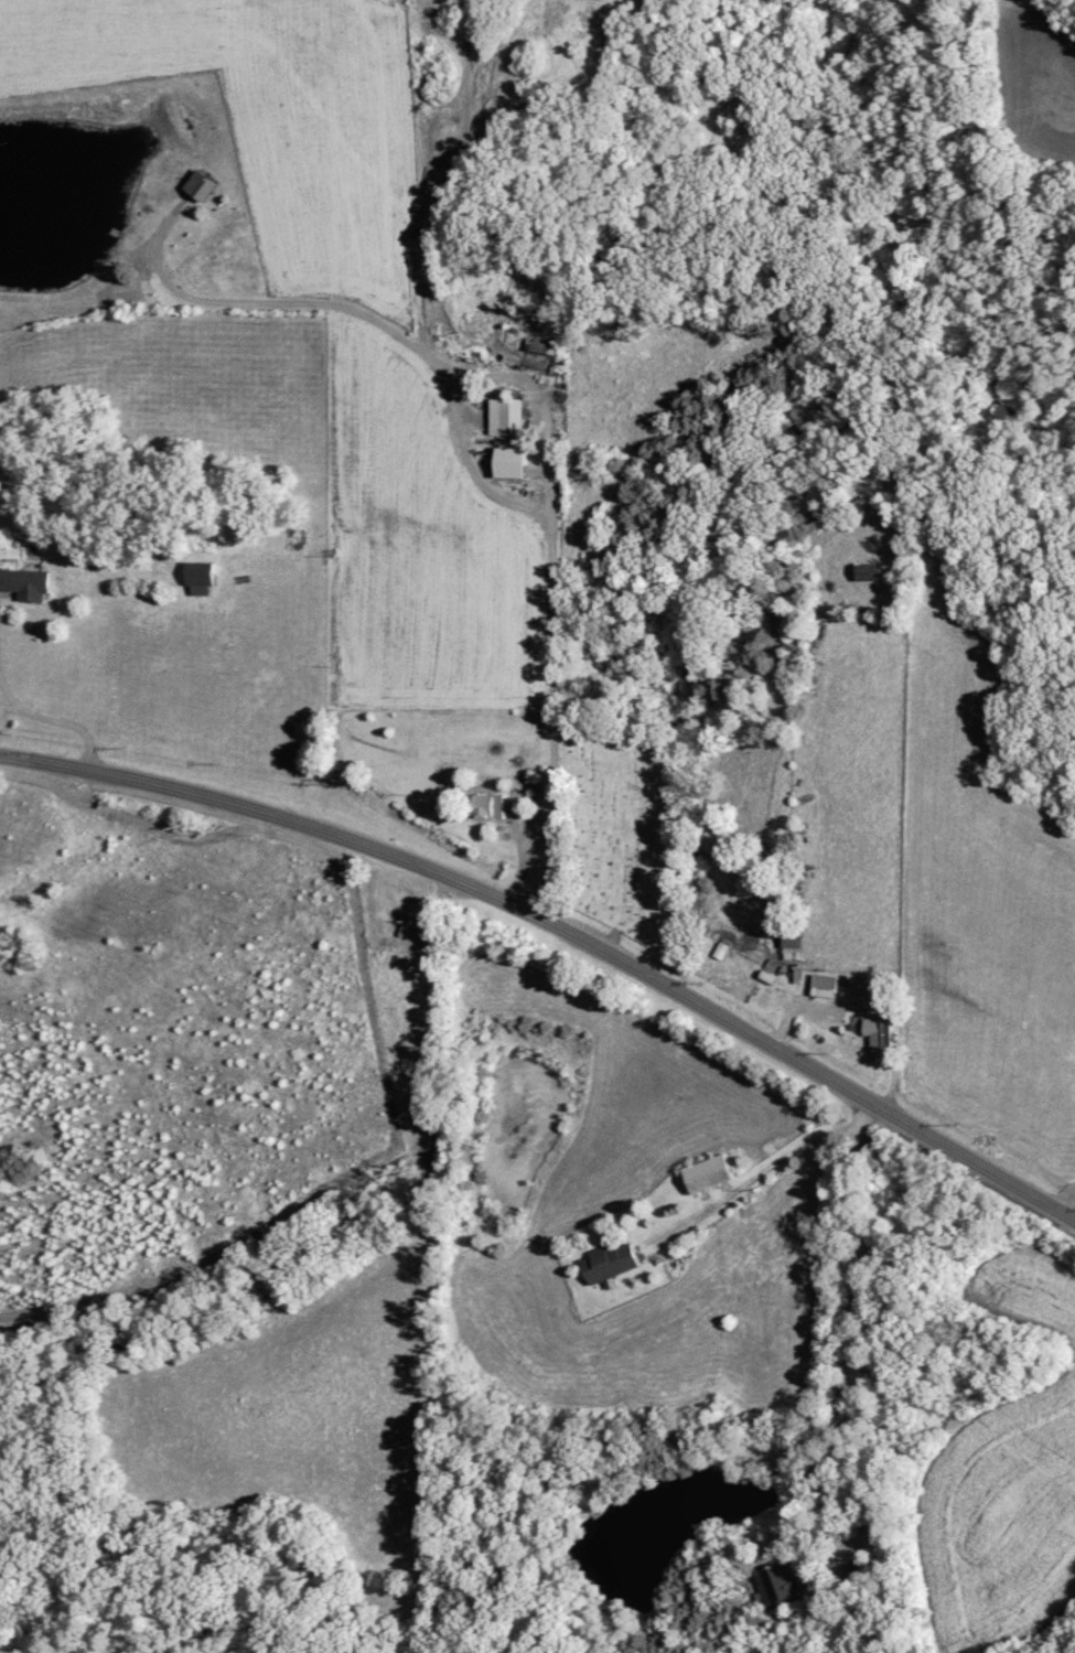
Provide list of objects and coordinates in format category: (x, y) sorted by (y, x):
building: (197, 185)
building: (506, 412)
building: (509, 462)
building: (867, 571)
building: (200, 573)
building: (25, 583)
building: (486, 806)
park: (666, 816)
road: (561, 927)
building: (826, 981)
building: (878, 1037)
building: (875, 1157)
building: (706, 1173)
building: (606, 1263)
road: (1040, 1274)
road: (942, 1286)
road: (1019, 1396)
road: (1040, 1513)
building: (781, 1585)

